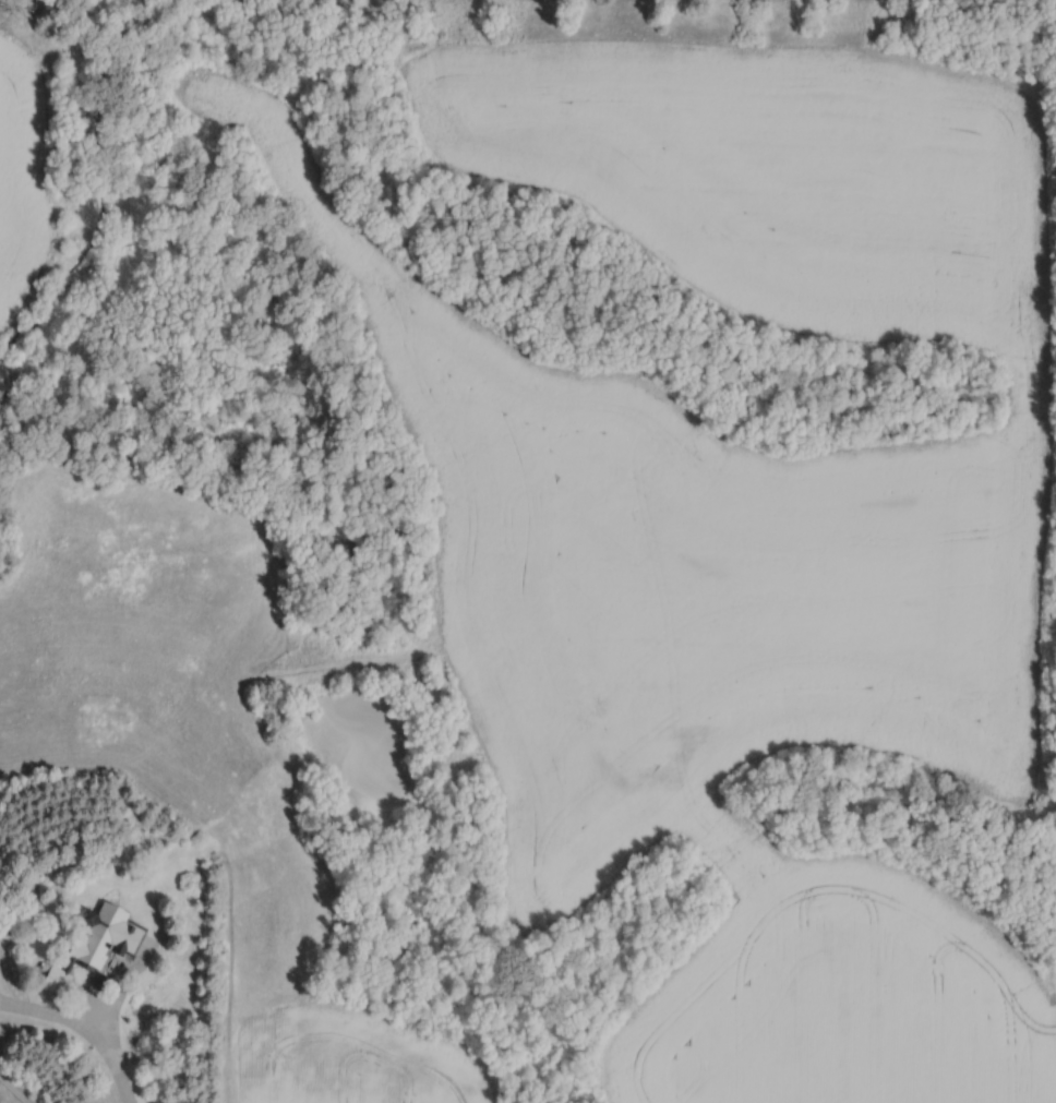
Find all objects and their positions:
building: (110, 933)
building: (59, 979)
road: (79, 1032)

